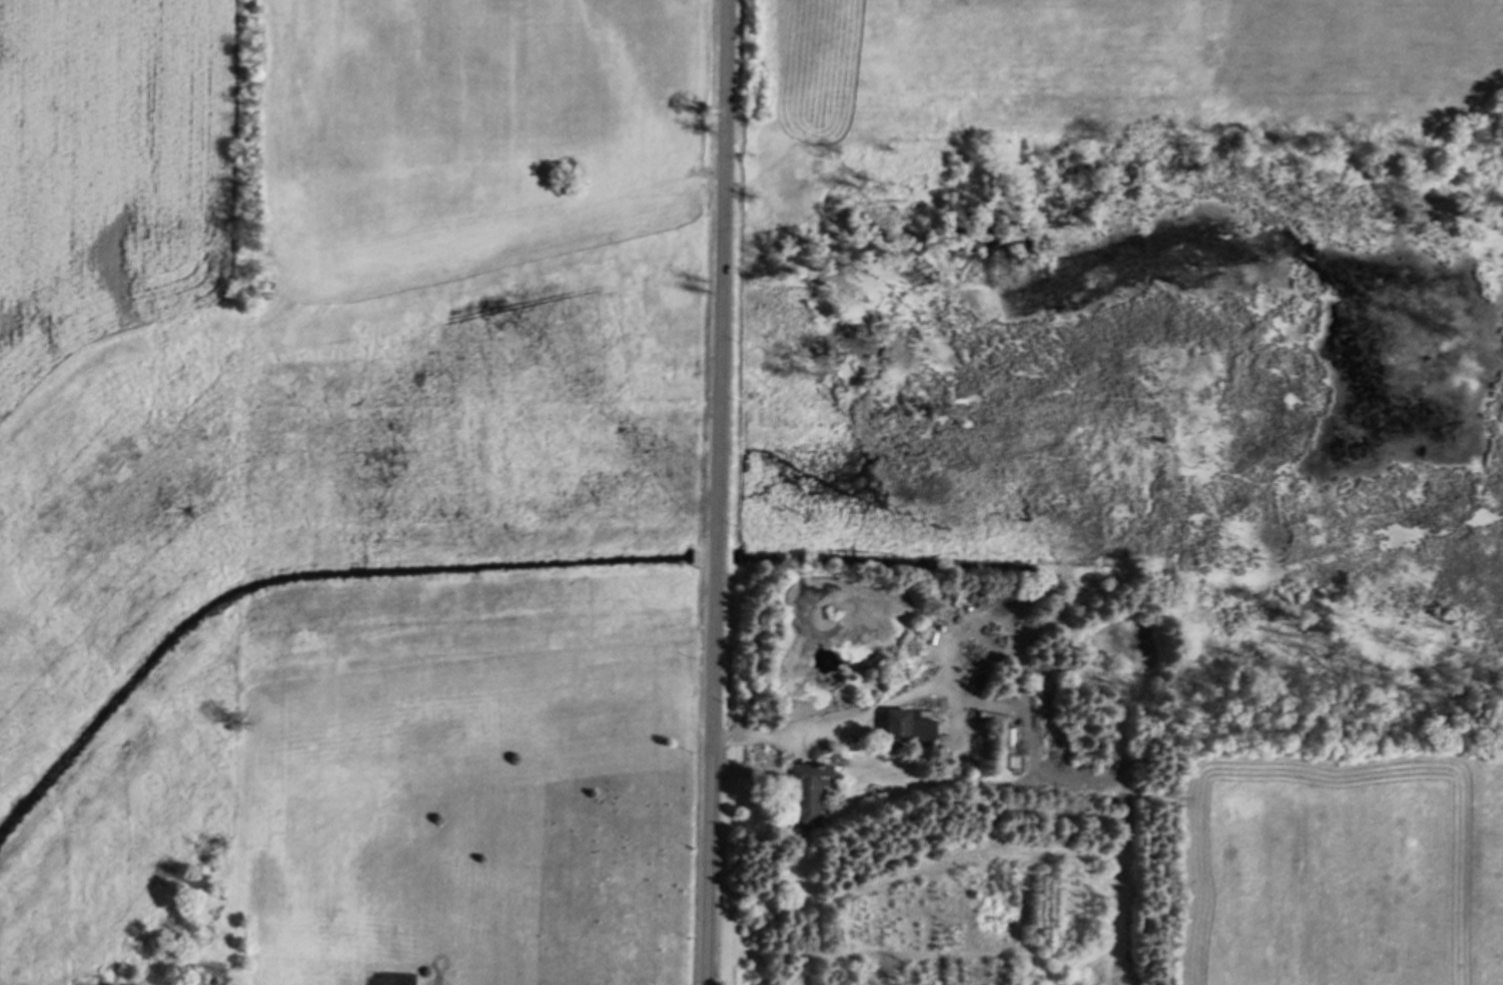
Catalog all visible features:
crop: (107, 172)
quarry: (122, 489)
road: (716, 492)
road: (835, 727)
building: (907, 727)
building: (889, 773)
building: (807, 793)
crop: (433, 806)

